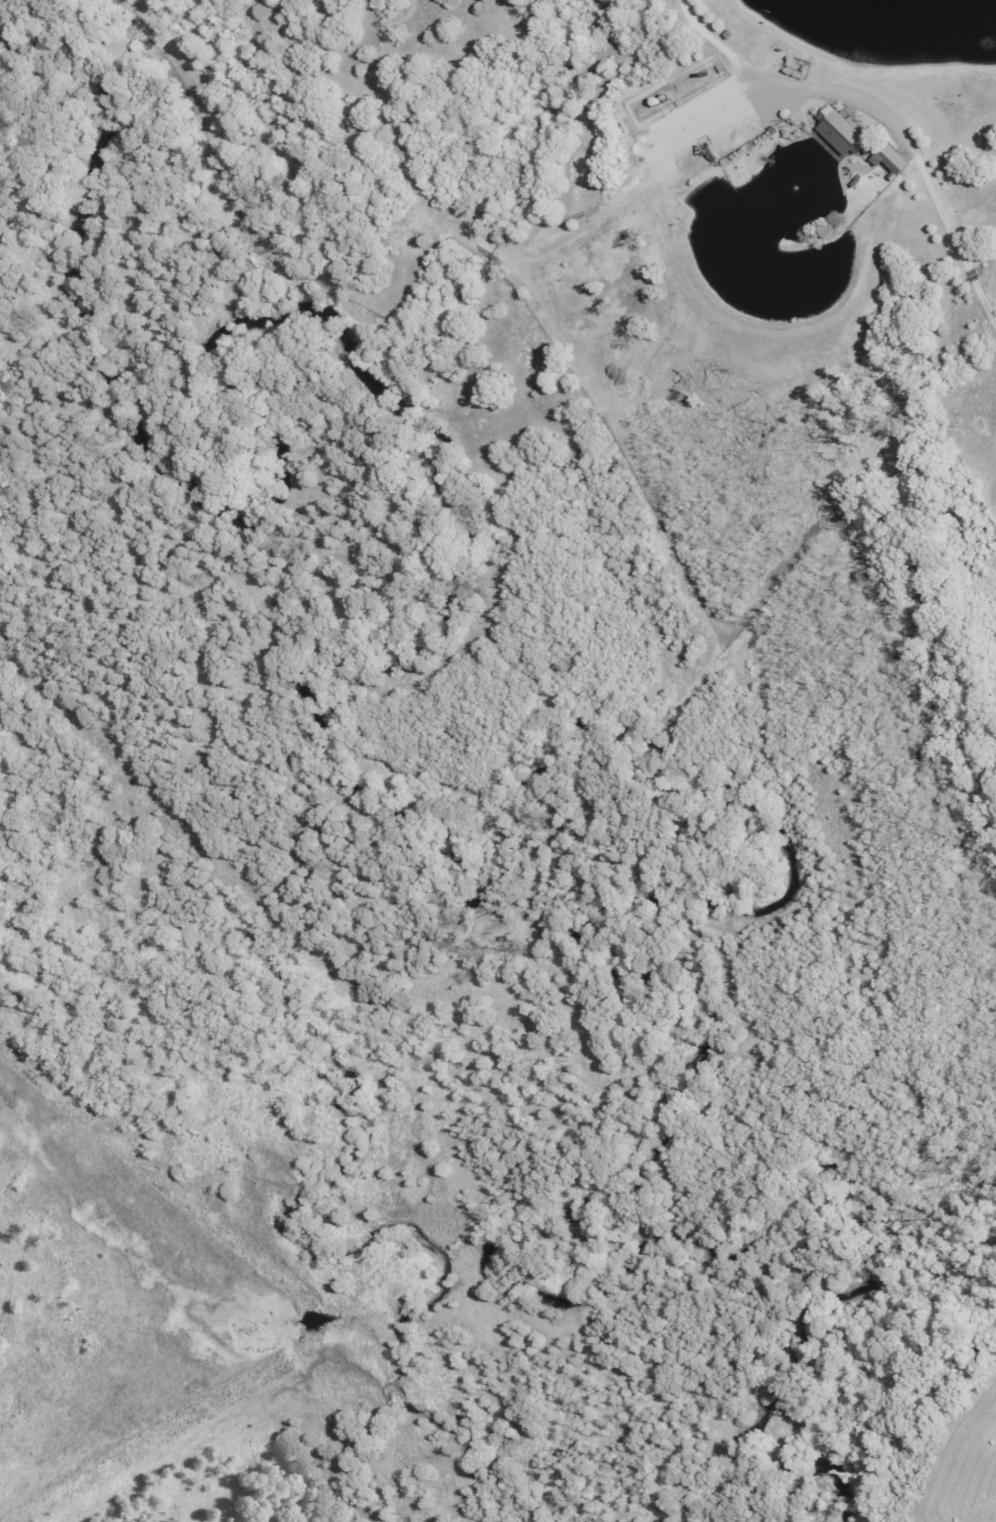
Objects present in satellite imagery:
building: (845, 133)
petroleum well: (707, 153)
building: (895, 161)

